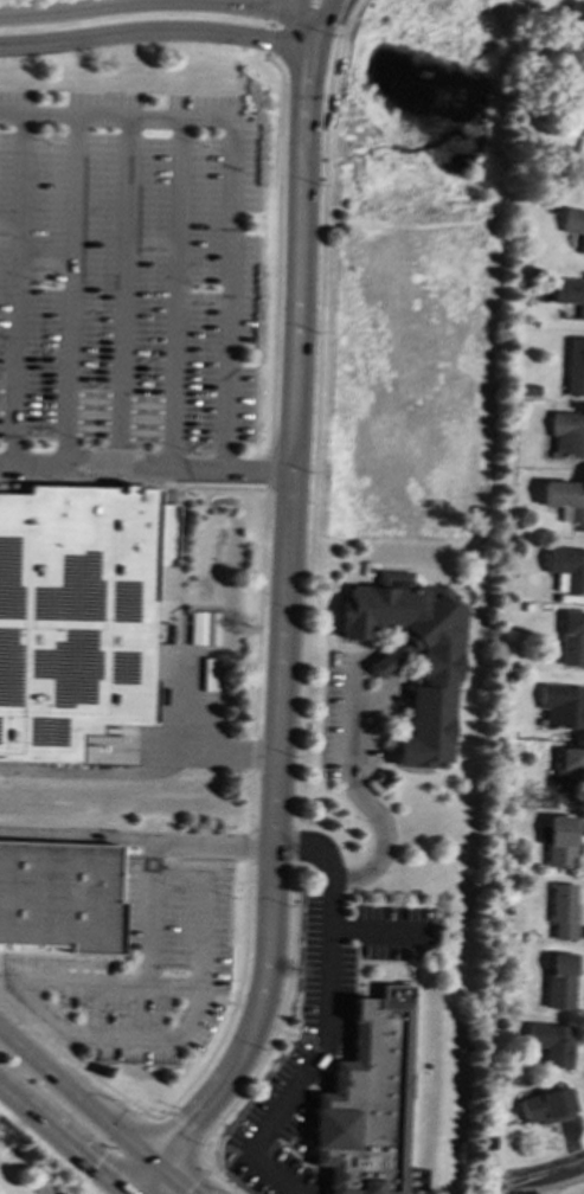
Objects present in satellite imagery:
road: (165, 2)
road: (304, 23)
road: (323, 23)
road: (269, 25)
road: (156, 32)
road: (226, 180)
building: (573, 224)
parking lot: (128, 272)
road: (17, 288)
road: (70, 288)
road: (121, 288)
building: (569, 291)
road: (173, 293)
building: (575, 366)
building: (567, 432)
road: (310, 441)
road: (145, 461)
road: (131, 483)
building: (565, 497)
building: (565, 566)
building: (75, 616)
road: (283, 623)
building: (571, 637)
road: (365, 654)
road: (383, 662)
road: (391, 674)
building: (435, 675)
road: (194, 685)
road: (255, 693)
road: (374, 699)
building: (561, 704)
road: (141, 770)
building: (566, 776)
road: (359, 790)
road: (137, 839)
building: (559, 839)
building: (59, 895)
road: (200, 909)
building: (561, 911)
building: (558, 981)
road: (27, 993)
road: (278, 1015)
road: (323, 1020)
road: (288, 1032)
building: (550, 1042)
road: (313, 1047)
road: (78, 1099)
building: (367, 1100)
building: (545, 1105)
road: (177, 1138)
road: (60, 1141)
traffic signals: (158, 1168)
road: (219, 1177)
road: (538, 1180)
road: (145, 1181)
road: (173, 1181)

